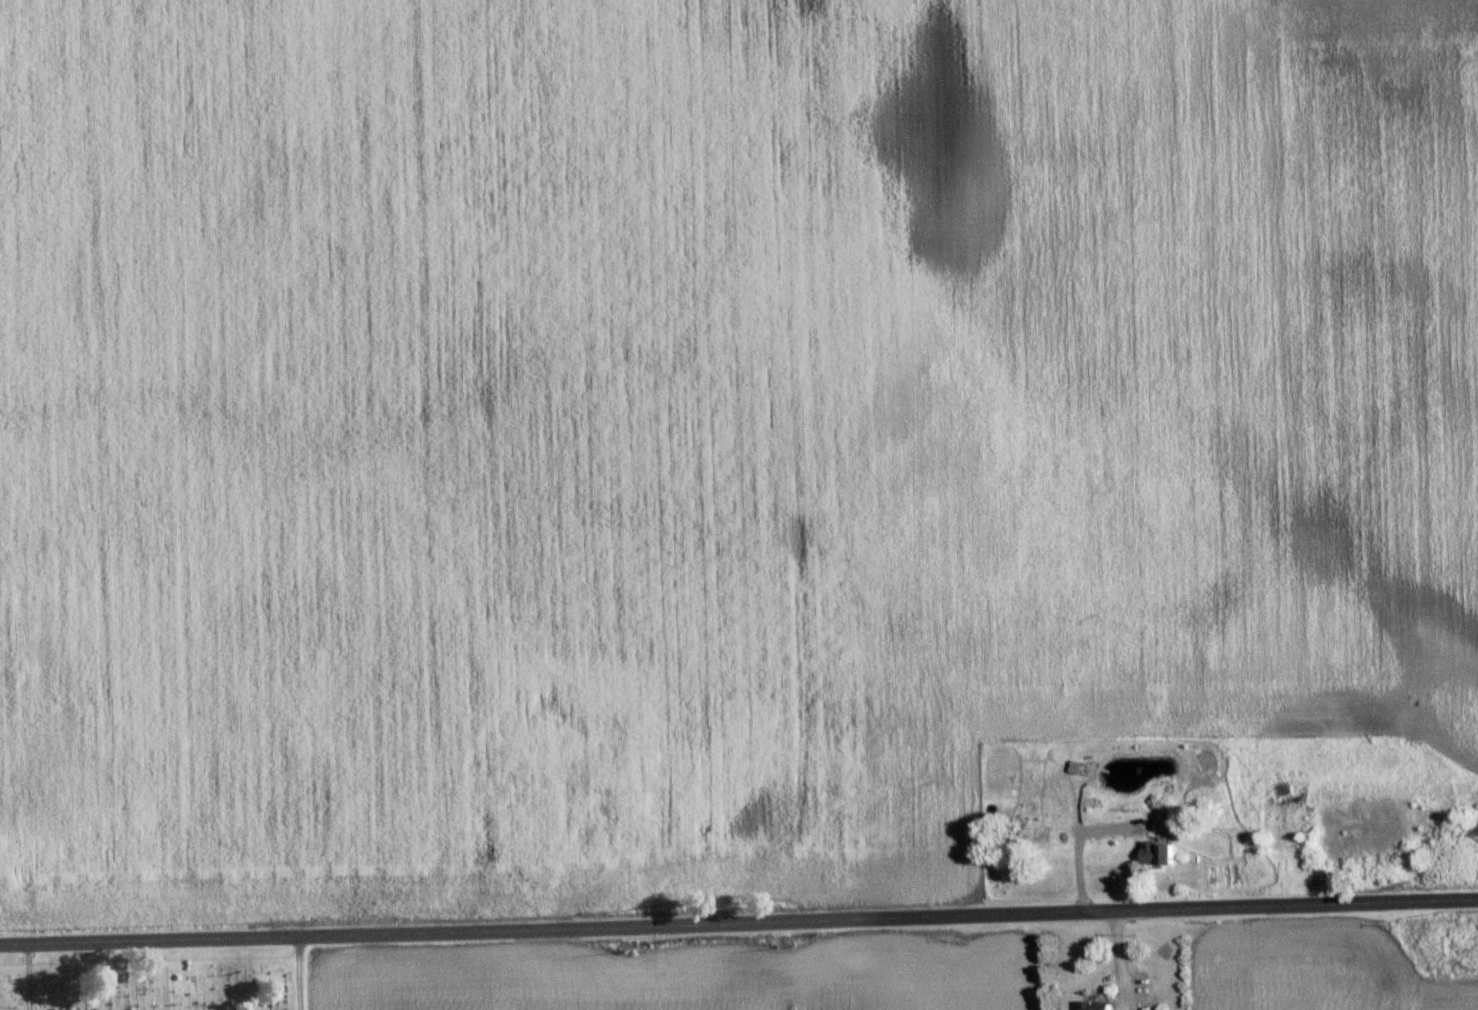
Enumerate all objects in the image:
road: (739, 925)
road: (299, 974)
road: (29, 978)
park: (159, 979)
building: (1096, 1005)
building: (1148, 1007)

